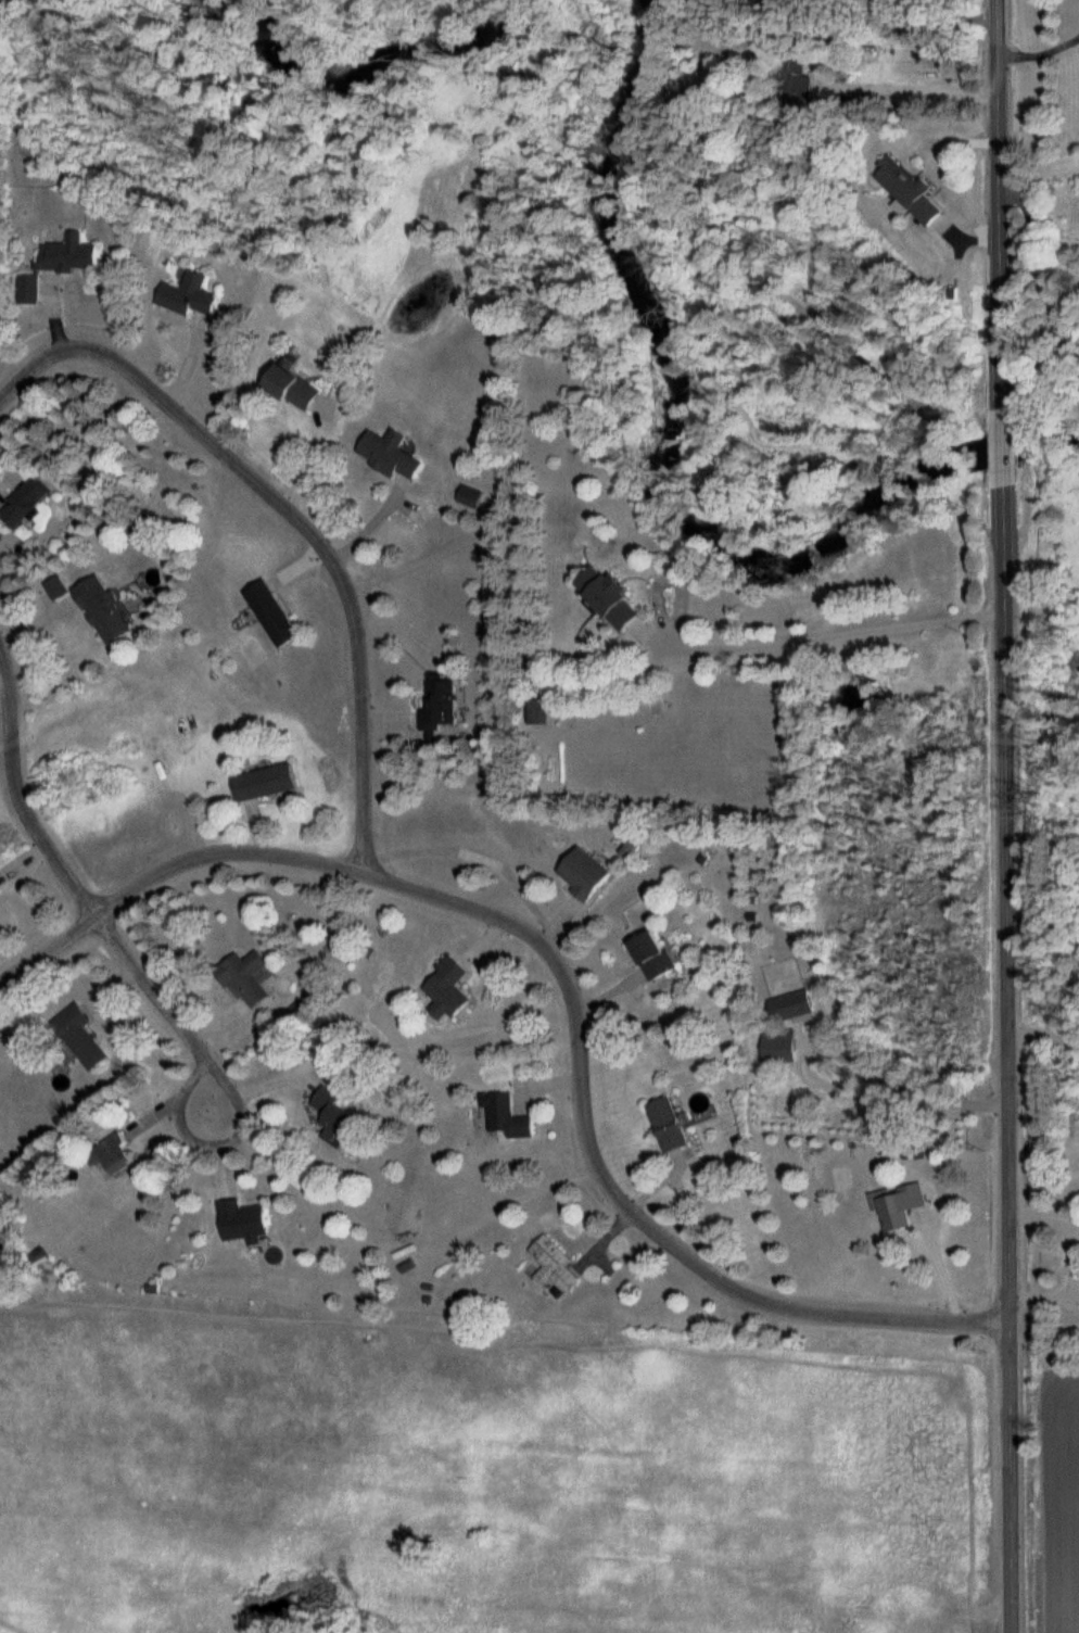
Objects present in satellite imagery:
road: (1039, 54)
building: (792, 80)
road: (906, 89)
road: (938, 170)
building: (907, 190)
building: (56, 265)
building: (186, 296)
building: (1077, 338)
building: (290, 387)
building: (389, 454)
building: (470, 497)
building: (23, 504)
road: (293, 512)
building: (608, 599)
building: (101, 610)
building: (270, 615)
road: (830, 635)
building: (446, 701)
building: (538, 713)
building: (264, 781)
road: (1002, 815)
road: (166, 869)
building: (583, 873)
road: (86, 898)
building: (650, 954)
building: (244, 976)
building: (445, 989)
building: (79, 1036)
road: (888, 1080)
building: (331, 1113)
building: (505, 1115)
building: (667, 1125)
building: (114, 1156)
road: (609, 1175)
building: (897, 1205)
building: (241, 1220)
building: (37, 1255)
building: (553, 1265)

